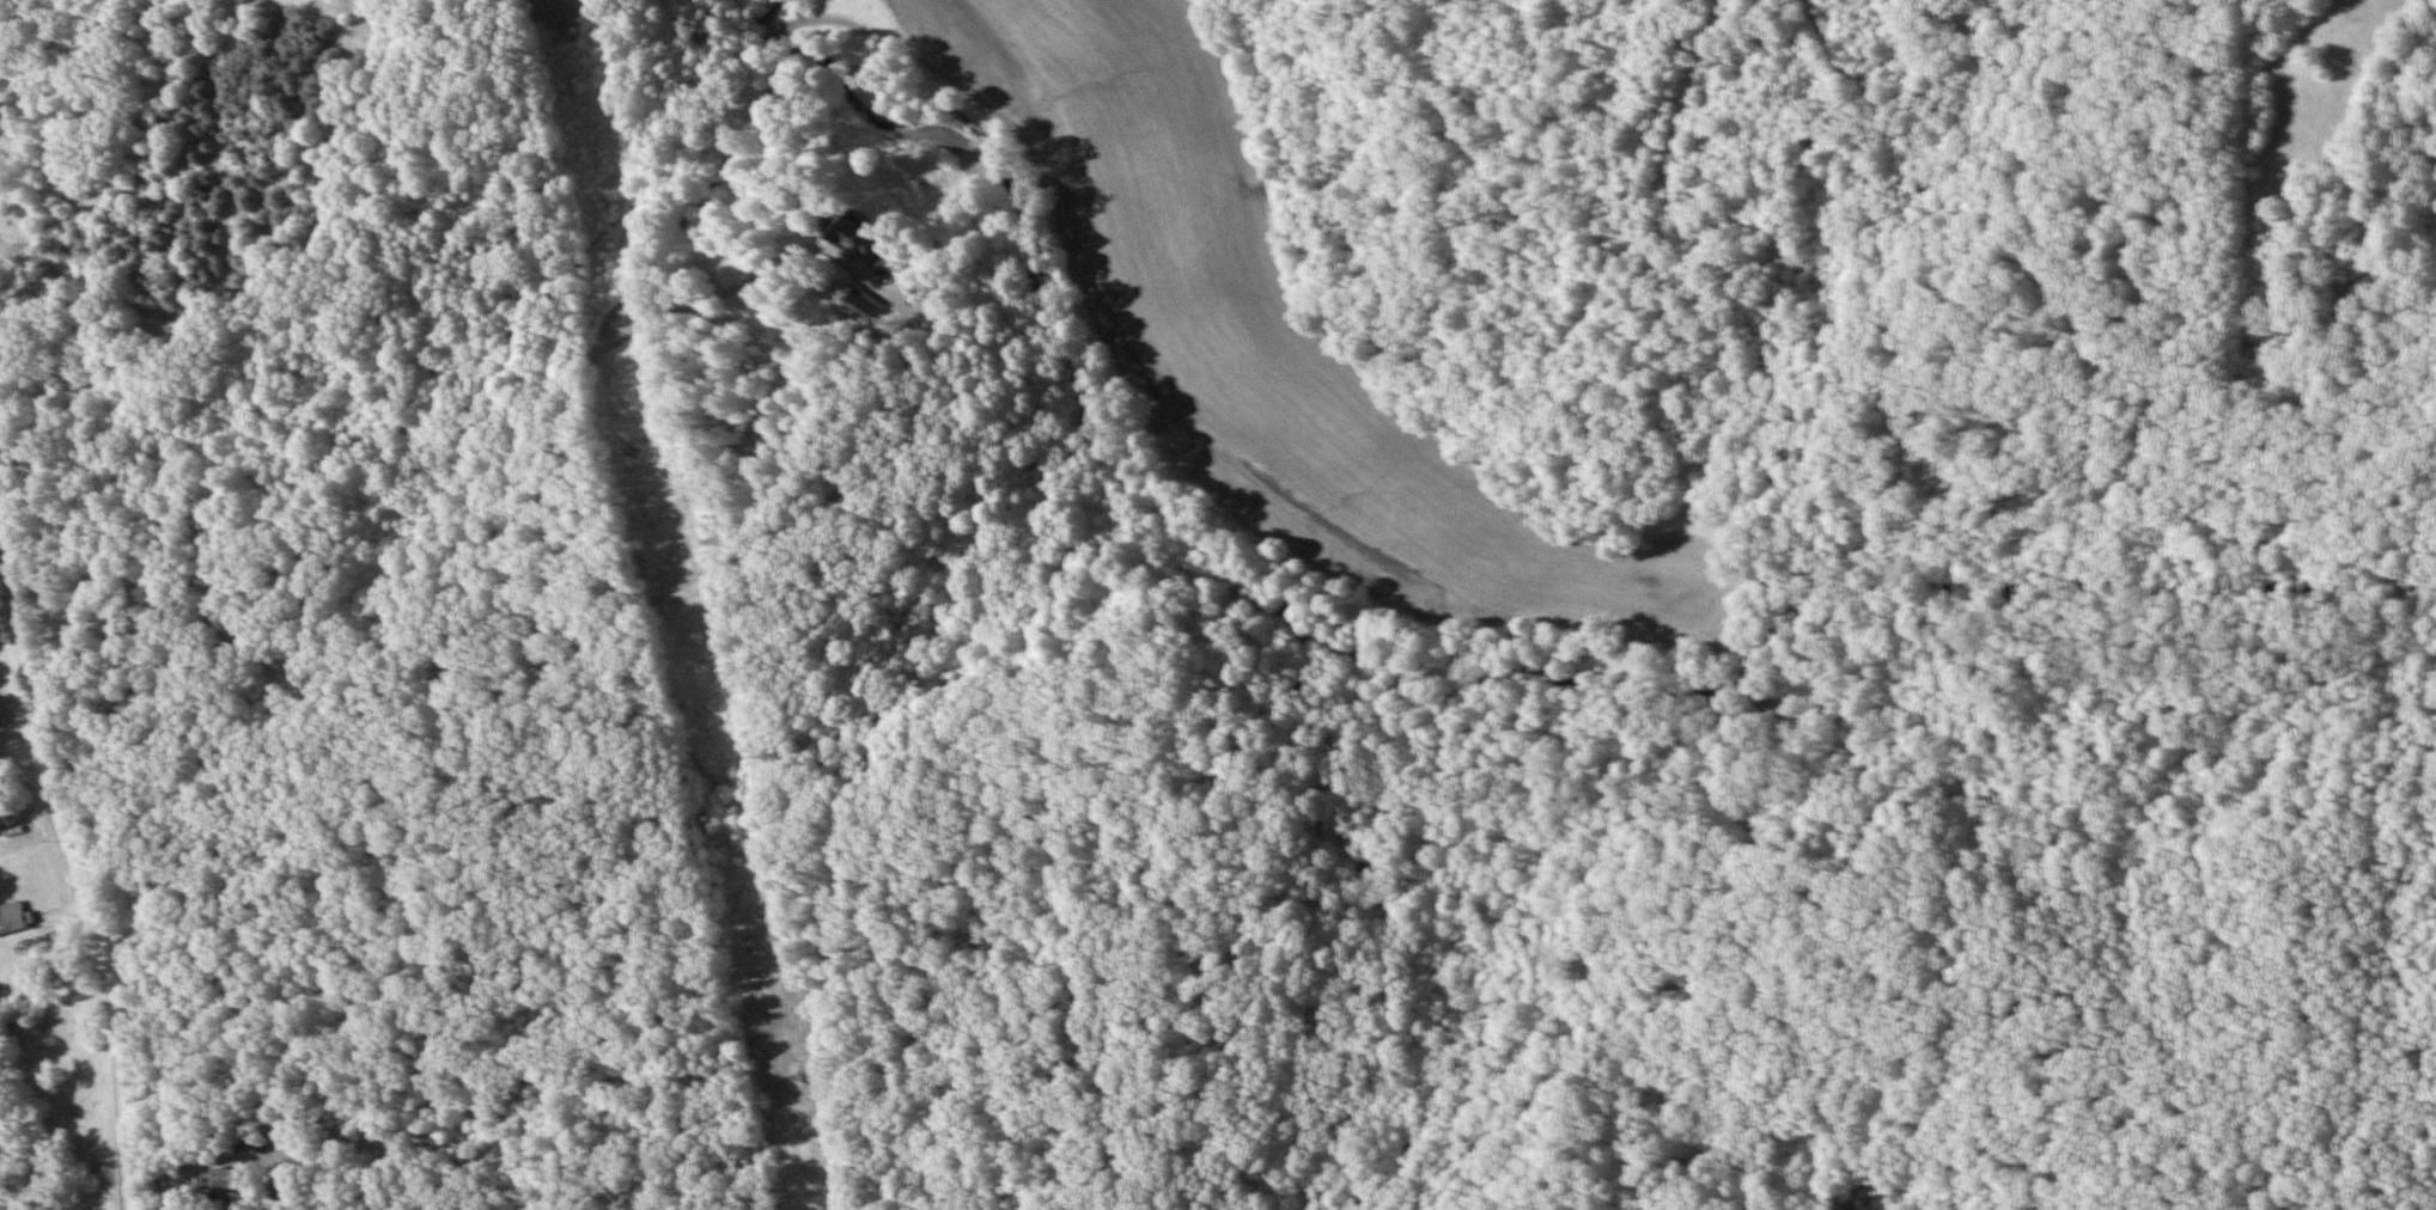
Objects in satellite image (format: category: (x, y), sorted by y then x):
building: (852, 236)
power tower: (648, 478)
road: (102, 891)
building: (13, 918)
power tower: (751, 977)
building: (230, 1187)

